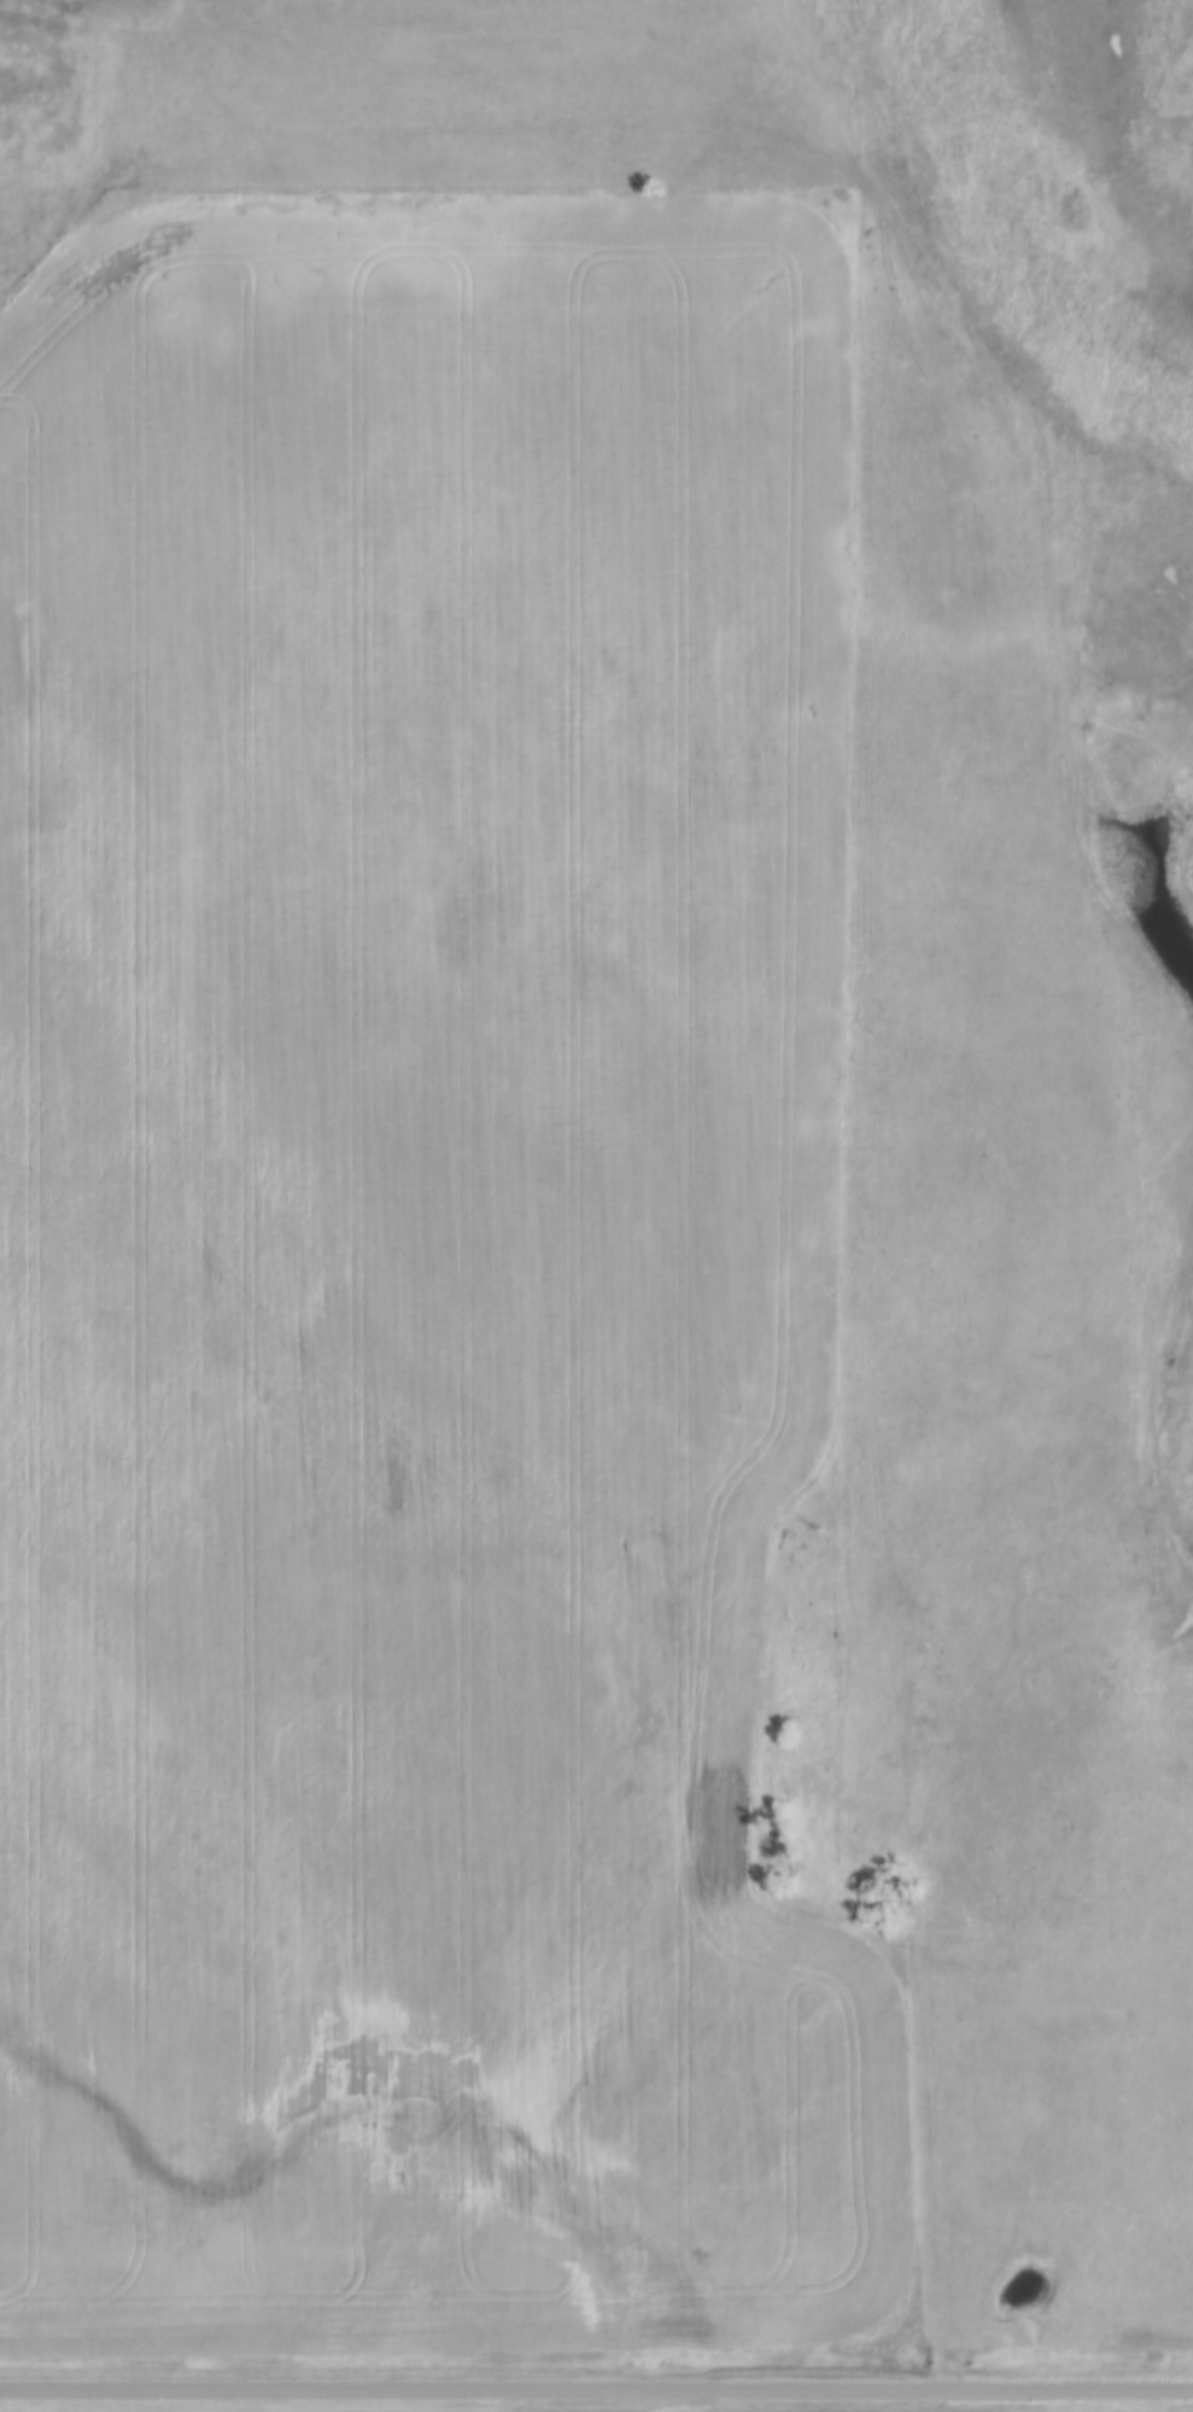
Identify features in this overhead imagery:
road: (596, 2388)

